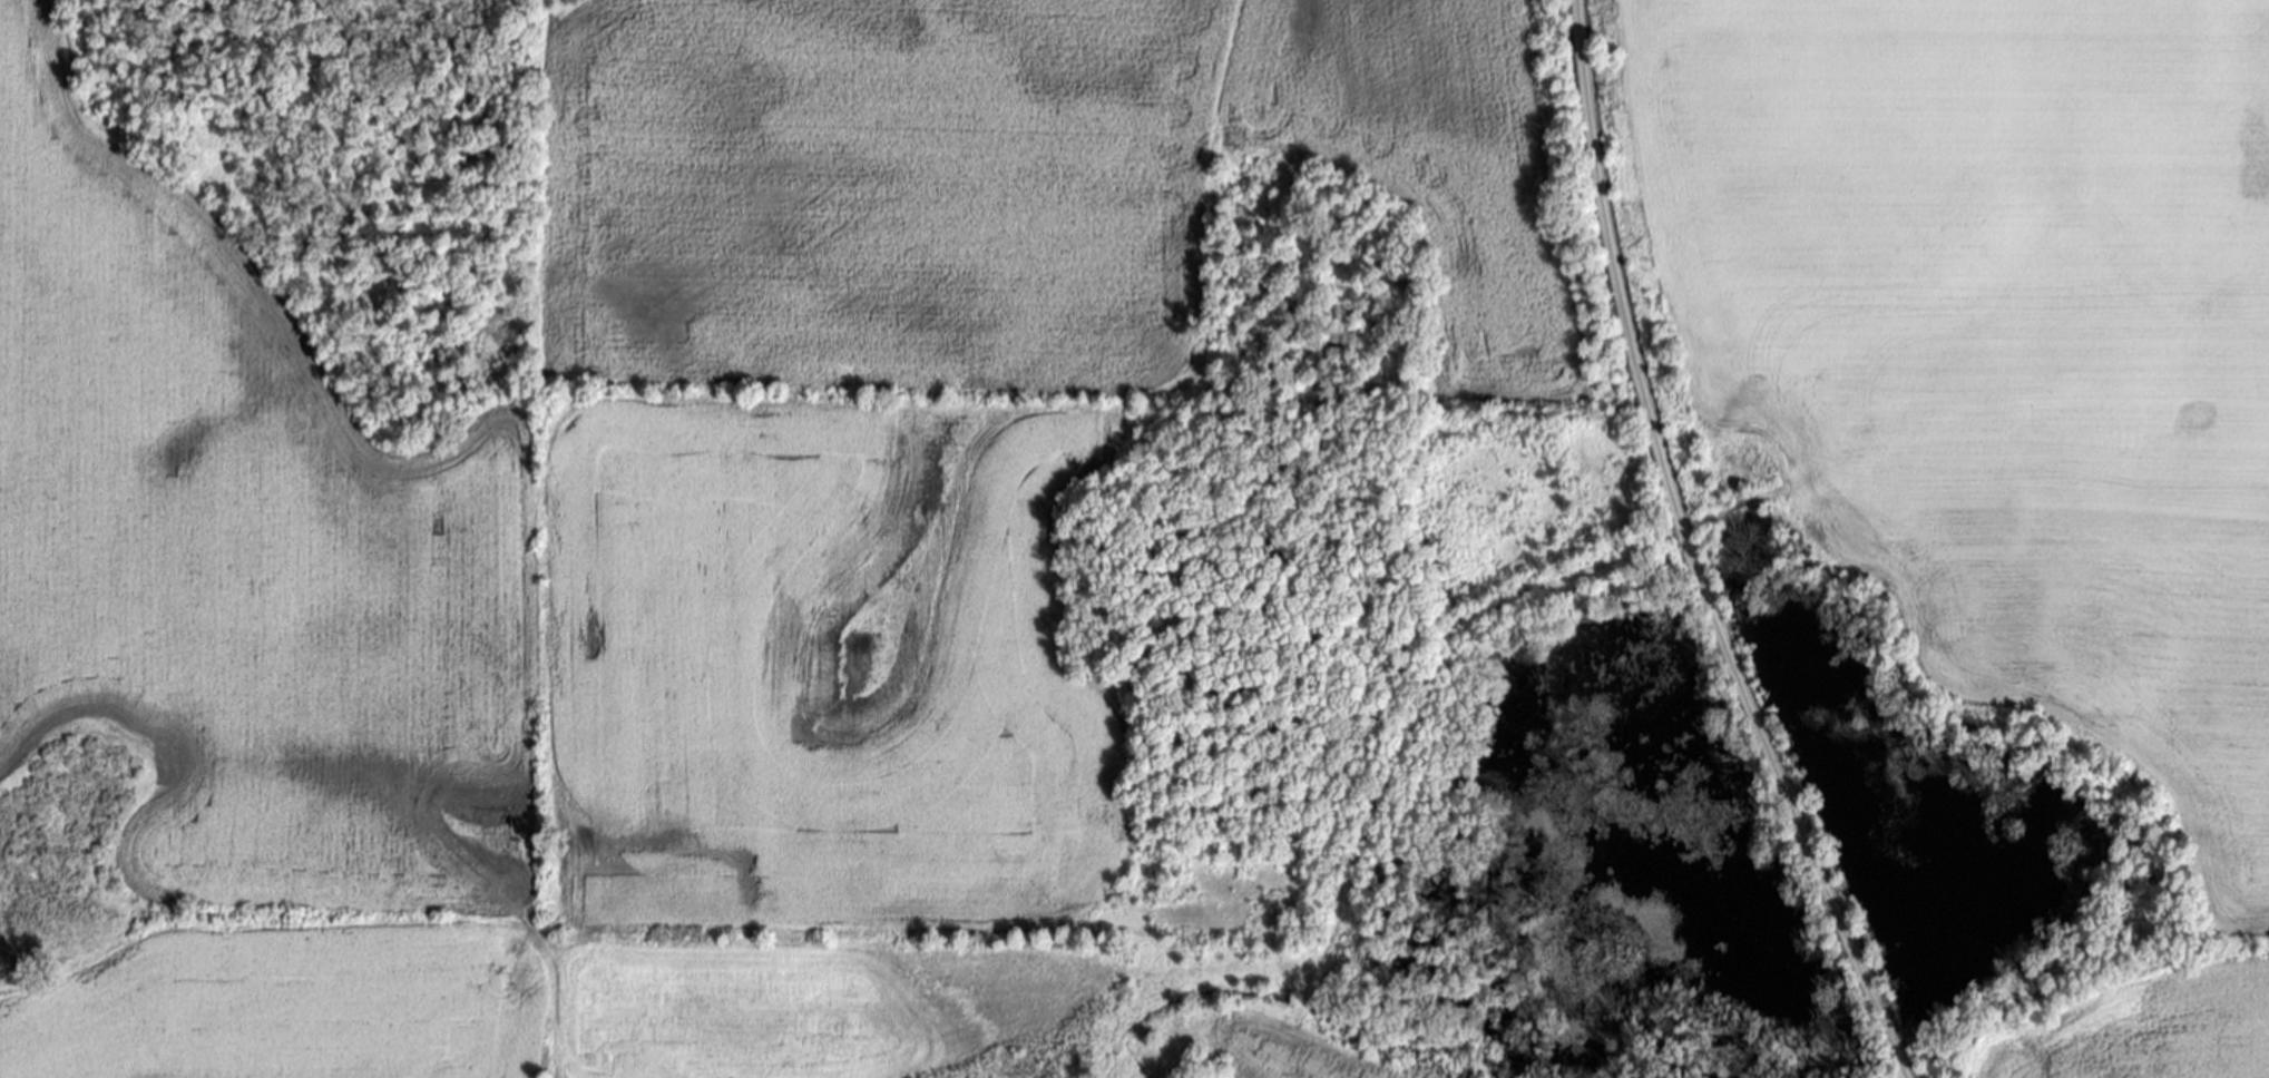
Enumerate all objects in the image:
road: (1705, 549)

